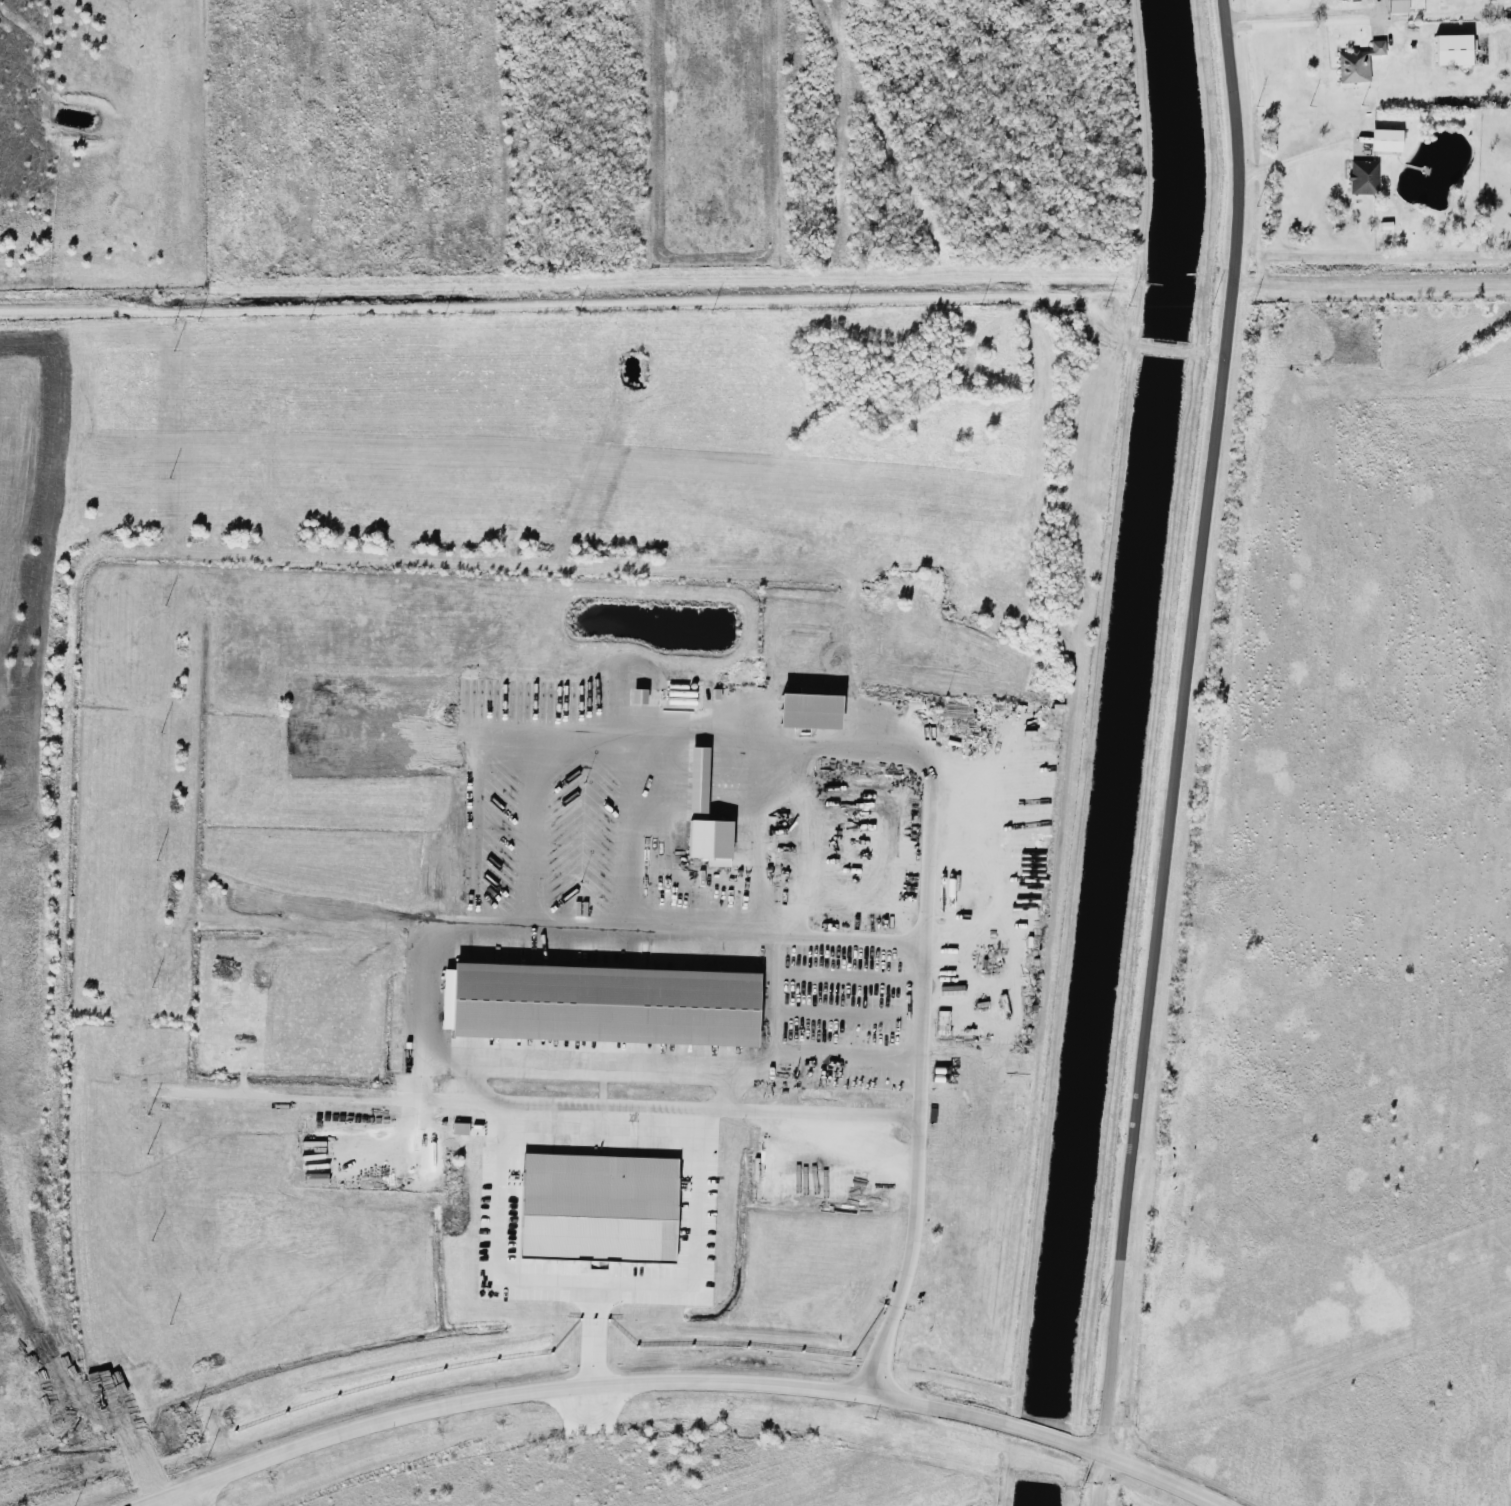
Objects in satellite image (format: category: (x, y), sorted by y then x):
building: (1396, 5)
road: (1314, 6)
road: (1295, 13)
road: (1296, 23)
building: (1452, 48)
building: (1356, 62)
building: (1384, 139)
road: (1287, 160)
building: (1362, 176)
road: (1261, 282)
road: (1119, 330)
road: (1165, 348)
road: (1209, 352)
building: (636, 695)
building: (807, 709)
river: (1130, 753)
road: (1181, 753)
building: (696, 778)
building: (709, 840)
road: (427, 999)
road: (772, 1000)
building: (599, 1003)
road: (470, 1080)
road: (791, 1084)
road: (1180, 1085)
road: (725, 1089)
road: (919, 1093)
road: (656, 1110)
building: (459, 1127)
building: (594, 1211)
road: (495, 1237)
road: (673, 1284)
road: (563, 1386)
road: (1036, 1433)
road: (1140, 1473)

